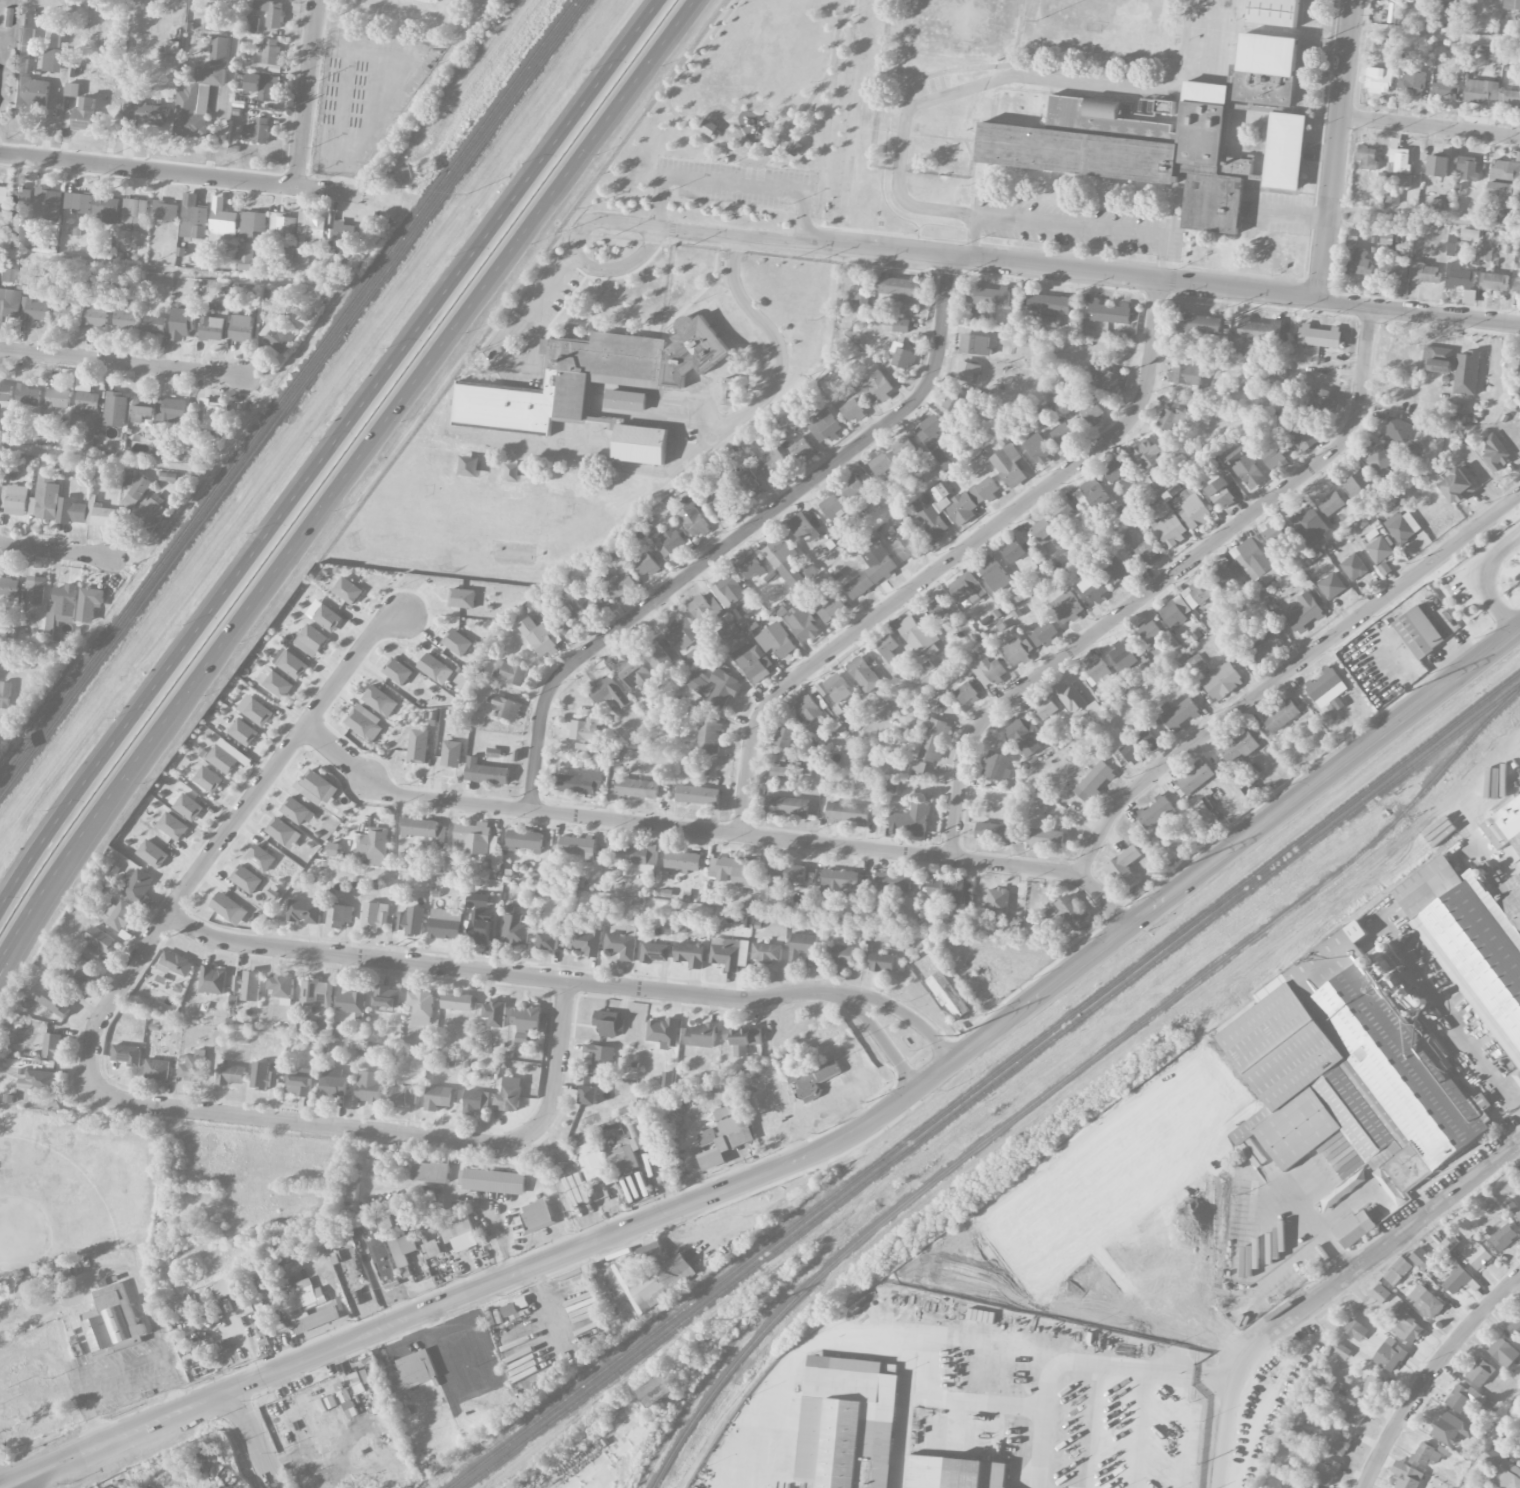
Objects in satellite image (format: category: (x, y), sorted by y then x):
building: (1512, 4)
building: (271, 12)
building: (1274, 12)
building: (250, 24)
building: (24, 49)
building: (270, 51)
building: (53, 60)
building: (1379, 80)
building: (1411, 82)
building: (261, 85)
building: (1444, 87)
building: (72, 89)
building: (31, 91)
building: (1480, 91)
building: (201, 93)
road: (308, 94)
road: (937, 95)
building: (1509, 97)
building: (1156, 107)
building: (84, 113)
park: (762, 118)
building: (709, 127)
road: (1430, 127)
building: (257, 131)
building: (1159, 136)
building: (1285, 151)
road: (1336, 151)
building: (1367, 157)
building: (1399, 159)
building: (1438, 165)
building: (1467, 167)
road: (189, 175)
building: (1504, 177)
road: (732, 182)
building: (1, 193)
building: (20, 196)
building: (78, 202)
building: (48, 203)
building: (1434, 203)
building: (107, 209)
building: (165, 211)
building: (135, 212)
road: (1425, 216)
building: (193, 218)
building: (222, 222)
building: (251, 223)
building: (282, 224)
road: (620, 224)
road: (1067, 226)
road: (657, 228)
building: (308, 232)
building: (343, 232)
building: (1469, 233)
road: (731, 236)
building: (1451, 245)
building: (285, 255)
building: (245, 256)
building: (1357, 258)
road: (625, 265)
building: (1424, 273)
building: (1459, 277)
building: (1494, 281)
road: (1161, 284)
building: (1517, 285)
building: (898, 286)
road: (551, 291)
building: (988, 295)
building: (11, 302)
building: (861, 302)
building: (1049, 303)
building: (38, 310)
building: (96, 312)
building: (1106, 312)
building: (65, 313)
building: (980, 314)
building: (124, 320)
building: (182, 323)
building: (1199, 323)
building: (155, 324)
building: (896, 325)
building: (242, 328)
building: (212, 329)
building: (1259, 329)
building: (277, 332)
building: (1319, 336)
building: (1029, 340)
building: (974, 344)
road: (777, 347)
building: (903, 358)
building: (1437, 359)
road: (121, 364)
building: (1274, 369)
building: (968, 372)
building: (641, 374)
building: (1185, 374)
building: (1109, 381)
building: (877, 387)
railway: (288, 391)
building: (5, 392)
building: (27, 395)
building: (85, 395)
building: (57, 398)
railway: (293, 398)
building: (626, 400)
building: (1321, 402)
building: (956, 406)
building: (115, 409)
building: (143, 409)
building: (853, 410)
building: (171, 411)
building: (1092, 411)
road: (392, 413)
building: (213, 416)
building: (1170, 418)
building: (825, 426)
building: (1424, 428)
building: (1397, 430)
building: (1300, 433)
building: (1063, 434)
building: (88, 439)
building: (933, 439)
building: (641, 444)
building: (1039, 448)
building: (801, 449)
building: (1413, 449)
building: (159, 450)
building: (905, 450)
building: (1495, 452)
road: (325, 453)
building: (1148, 453)
building: (1271, 455)
building: (1380, 459)
building: (1008, 462)
building: (771, 463)
building: (881, 466)
building: (1248, 470)
building: (1114, 471)
building: (168, 476)
building: (748, 482)
building: (1356, 485)
building: (853, 487)
building: (1456, 487)
building: (985, 489)
building: (136, 492)
building: (1221, 493)
building: (1092, 495)
building: (722, 499)
building: (1331, 504)
building: (1190, 506)
building: (833, 507)
building: (1063, 509)
building: (71, 511)
building: (151, 512)
building: (100, 513)
building: (928, 515)
building: (694, 520)
building: (1310, 525)
building: (801, 526)
building: (1401, 526)
building: (1042, 529)
building: (1170, 529)
building: (1274, 533)
road: (737, 535)
building: (671, 543)
building: (906, 547)
building: (1014, 550)
building: (1379, 550)
building: (1147, 551)
road: (54, 552)
road: (951, 559)
building: (1255, 559)
building: (785, 560)
building: (646, 565)
road: (1488, 565)
building: (1354, 567)
building: (1384, 568)
building: (751, 569)
building: (872, 571)
building: (1114, 571)
building: (993, 573)
building: (1223, 575)
building: (615, 581)
road: (1159, 582)
building: (1093, 586)
building: (1332, 586)
building: (9, 587)
building: (966, 588)
building: (35, 589)
building: (347, 590)
building: (730, 592)
building: (1199, 594)
building: (462, 598)
building: (89, 603)
building: (595, 604)
building: (61, 607)
building: (940, 607)
building: (1067, 607)
building: (705, 608)
building: (835, 608)
building: (1175, 611)
building: (1305, 613)
building: (327, 618)
building: (571, 618)
building: (803, 624)
building: (729, 630)
building: (1151, 632)
building: (1418, 632)
building: (684, 633)
building: (1045, 633)
building: (918, 636)
building: (539, 637)
building: (311, 639)
building: (777, 640)
building: (457, 642)
building: (1263, 646)
building: (887, 648)
building: (1017, 650)
building: (656, 654)
building: (1123, 656)
building: (290, 663)
building: (754, 663)
building: (1193, 663)
building: (1097, 668)
building: (435, 669)
building: (991, 670)
building: (397, 671)
building: (510, 672)
building: (634, 672)
road: (1284, 672)
building: (863, 674)
building: (1222, 681)
building: (1323, 683)
building: (699, 684)
building: (278, 685)
building: (724, 688)
building: (835, 688)
power tower: (1406, 691)
building: (610, 692)
building: (966, 693)
building: (5, 694)
building: (1069, 697)
building: (380, 701)
building: (1045, 707)
building: (507, 708)
building: (808, 708)
building: (1095, 709)
building: (258, 712)
building: (1179, 712)
building: (1281, 715)
building: (851, 720)
building: (364, 723)
building: (584, 729)
building: (243, 732)
building: (1024, 735)
building: (709, 736)
building: (784, 737)
building: (932, 738)
building: (1242, 742)
building: (1139, 746)
building: (418, 750)
building: (451, 754)
road: (282, 755)
building: (225, 757)
building: (997, 766)
building: (778, 771)
building: (486, 772)
building: (1195, 777)
building: (208, 779)
railway: (1432, 779)
building: (1094, 781)
building: (581, 782)
building: (318, 788)
building: (637, 788)
building: (698, 795)
railway: (1431, 801)
building: (787, 805)
building: (188, 807)
building: (297, 811)
building: (1155, 811)
building: (849, 813)
building: (910, 821)
building: (1503, 825)
building: (173, 826)
building: (420, 827)
building: (280, 830)
road: (717, 831)
building: (994, 833)
building: (476, 839)
building: (1046, 839)
building: (524, 840)
building: (374, 842)
building: (578, 846)
building: (153, 854)
building: (260, 858)
building: (684, 860)
building: (1518, 866)
building: (1124, 869)
building: (736, 871)
power tower: (1167, 874)
building: (785, 876)
building: (246, 879)
building: (839, 880)
building: (893, 882)
building: (138, 887)
building: (947, 889)
road: (43, 895)
building: (997, 900)
road: (45, 908)
building: (229, 909)
building: (304, 911)
building: (1073, 912)
building: (120, 915)
building: (339, 915)
building: (375, 916)
building: (412, 920)
building: (446, 924)
building: (481, 926)
building: (513, 927)
building: (100, 939)
building: (1473, 940)
building: (549, 941)
building: (585, 941)
building: (622, 944)
building: (803, 946)
building: (94, 950)
building: (655, 952)
building: (766, 952)
building: (726, 953)
building: (690, 954)
building: (843, 955)
building: (881, 962)
building: (176, 963)
building: (80, 971)
road: (498, 972)
building: (213, 980)
building: (248, 985)
building: (281, 986)
road: (117, 992)
building: (315, 994)
building: (948, 995)
building: (386, 996)
building: (457, 1001)
building: (351, 1002)
building: (55, 1003)
building: (420, 1007)
road: (902, 1011)
building: (495, 1012)
building: (526, 1021)
building: (608, 1023)
building: (664, 1032)
building: (701, 1035)
road: (879, 1035)
power tower: (955, 1037)
building: (743, 1040)
road: (1461, 1043)
building: (52, 1045)
building: (126, 1054)
building: (599, 1058)
building: (193, 1067)
building: (157, 1069)
building: (1348, 1073)
building: (231, 1074)
building: (262, 1076)
building: (808, 1077)
railway: (983, 1079)
building: (38, 1080)
building: (333, 1083)
building: (298, 1085)
railway: (991, 1085)
building: (369, 1086)
building: (508, 1094)
building: (589, 1095)
building: (400, 1096)
building: (438, 1097)
building: (476, 1102)
road: (870, 1121)
road: (391, 1133)
building: (725, 1136)
railway: (970, 1151)
building: (626, 1156)
building: (592, 1159)
building: (431, 1169)
building: (492, 1181)
park: (72, 1186)
building: (349, 1191)
building: (537, 1215)
building: (1518, 1215)
building: (387, 1225)
road: (1316, 1225)
building: (1354, 1228)
building: (1504, 1237)
building: (466, 1240)
building: (1450, 1241)
building: (433, 1249)
building: (404, 1252)
building: (381, 1256)
building: (1478, 1256)
building: (1421, 1258)
building: (1398, 1271)
building: (653, 1275)
building: (1456, 1280)
building: (238, 1284)
building: (226, 1289)
road: (1330, 1289)
building: (1380, 1294)
building: (1425, 1301)
building: (309, 1307)
building: (113, 1322)
power tower: (733, 1322)
building: (1407, 1325)
building: (1516, 1326)
building: (1355, 1330)
building: (1341, 1350)
building: (1503, 1352)
building: (1390, 1355)
road: (1083, 1362)
building: (413, 1371)
building: (1480, 1372)
road: (1429, 1373)
building: (360, 1381)
building: (1373, 1386)
building: (658, 1390)
building: (1459, 1397)
building: (350, 1408)
building: (1352, 1412)
building: (846, 1421)
building: (1452, 1429)
road: (255, 1438)
building: (1341, 1445)
building: (1518, 1449)
road: (58, 1453)
building: (1425, 1455)
road: (77, 1462)
building: (1503, 1470)
building: (1326, 1472)
building: (954, 1473)
building: (1407, 1475)
building: (865, 1479)
road: (47, 1484)
building: (1309, 1486)

